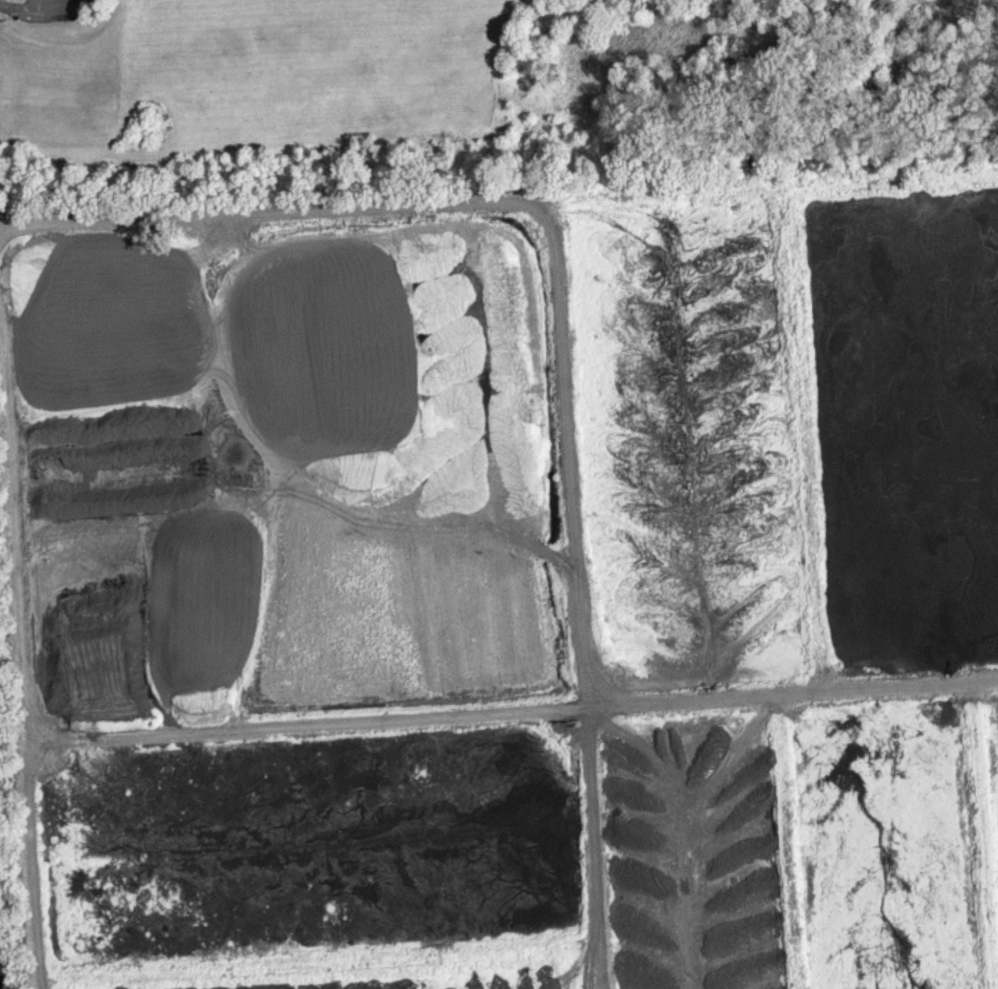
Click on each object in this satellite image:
road: (558, 326)
road: (26, 646)
road: (513, 709)

